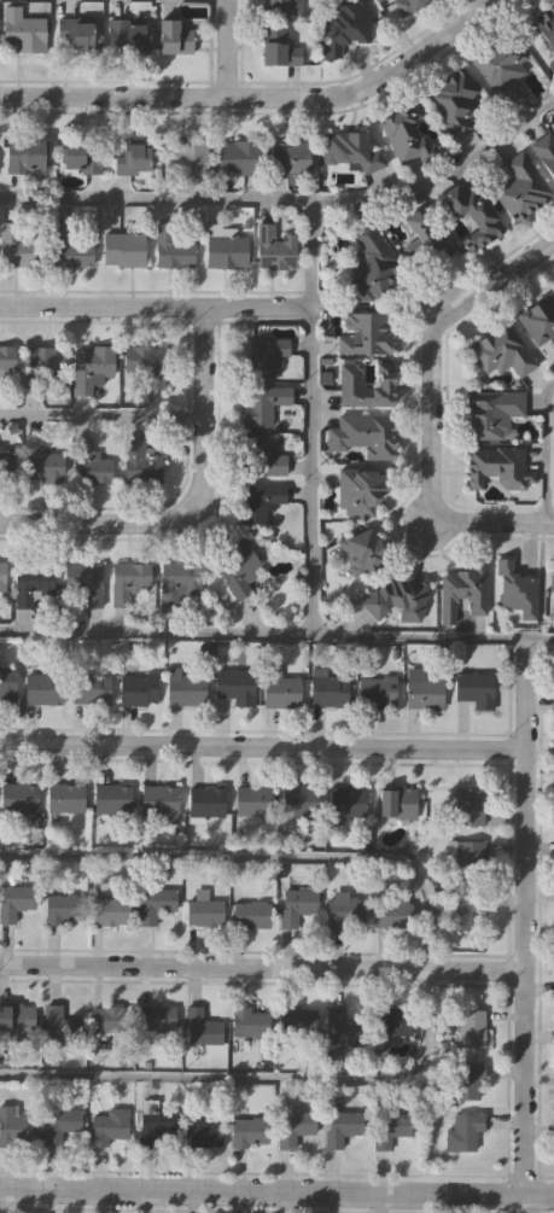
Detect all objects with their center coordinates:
building: (408, 6)
building: (281, 7)
building: (544, 24)
building: (346, 27)
building: (24, 33)
building: (74, 34)
building: (128, 35)
building: (173, 35)
building: (279, 45)
road: (222, 48)
building: (501, 65)
road: (258, 98)
building: (454, 99)
building: (408, 133)
building: (544, 150)
building: (82, 152)
building: (352, 152)
building: (24, 153)
building: (187, 156)
building: (238, 156)
building: (288, 156)
building: (132, 157)
building: (520, 187)
road: (291, 202)
building: (471, 215)
building: (424, 237)
building: (18, 246)
building: (223, 246)
building: (124, 247)
building: (274, 247)
building: (69, 249)
building: (173, 249)
building: (371, 262)
road: (156, 307)
building: (537, 320)
building: (366, 334)
road: (431, 348)
building: (498, 352)
building: (263, 358)
building: (7, 360)
building: (146, 363)
building: (42, 367)
building: (93, 367)
building: (349, 385)
building: (264, 402)
building: (491, 412)
road: (101, 415)
road: (311, 419)
building: (363, 436)
road: (547, 453)
building: (262, 455)
building: (140, 460)
building: (41, 461)
building: (91, 462)
building: (6, 465)
building: (497, 467)
building: (360, 488)
building: (259, 498)
road: (188, 501)
road: (492, 524)
building: (361, 549)
building: (238, 566)
building: (2, 575)
building: (550, 577)
building: (132, 578)
building: (84, 579)
building: (179, 579)
building: (34, 582)
building: (514, 585)
building: (463, 588)
building: (397, 596)
road: (276, 634)
building: (7, 683)
building: (235, 683)
building: (473, 684)
building: (91, 686)
building: (43, 687)
building: (280, 687)
building: (328, 687)
building: (424, 687)
building: (138, 688)
building: (186, 688)
building: (378, 690)
road: (261, 748)
building: (21, 795)
building: (69, 797)
building: (113, 798)
building: (159, 798)
building: (301, 799)
building: (205, 800)
building: (252, 800)
building: (400, 800)
building: (348, 801)
building: (470, 806)
building: (470, 856)
building: (16, 900)
building: (153, 903)
building: (296, 904)
building: (64, 906)
building: (203, 906)
building: (462, 906)
building: (344, 908)
building: (109, 910)
building: (393, 910)
building: (251, 912)
road: (520, 916)
road: (259, 968)
road: (427, 969)
building: (13, 1017)
building: (110, 1017)
building: (157, 1017)
building: (393, 1020)
building: (247, 1024)
building: (60, 1025)
building: (295, 1025)
building: (203, 1027)
building: (473, 1027)
building: (343, 1031)
building: (468, 1078)
building: (151, 1122)
building: (58, 1124)
building: (13, 1126)
building: (105, 1126)
building: (292, 1127)
building: (343, 1127)
building: (390, 1129)
building: (247, 1131)
building: (465, 1131)
building: (203, 1132)
road: (276, 1190)
road: (524, 1203)

